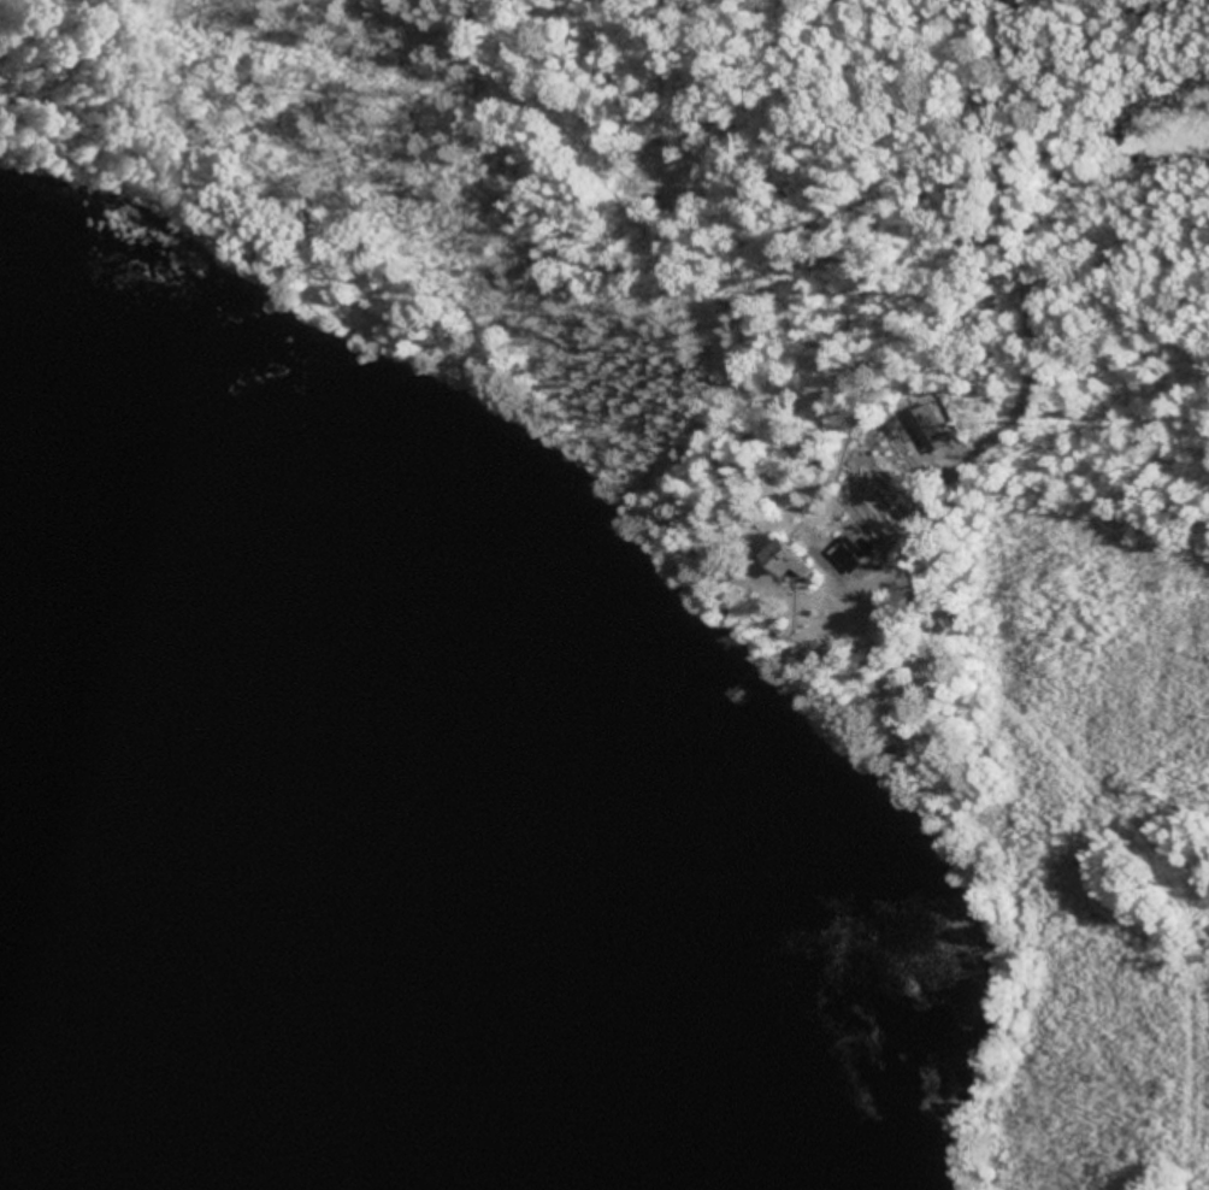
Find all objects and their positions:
building: (784, 565)

